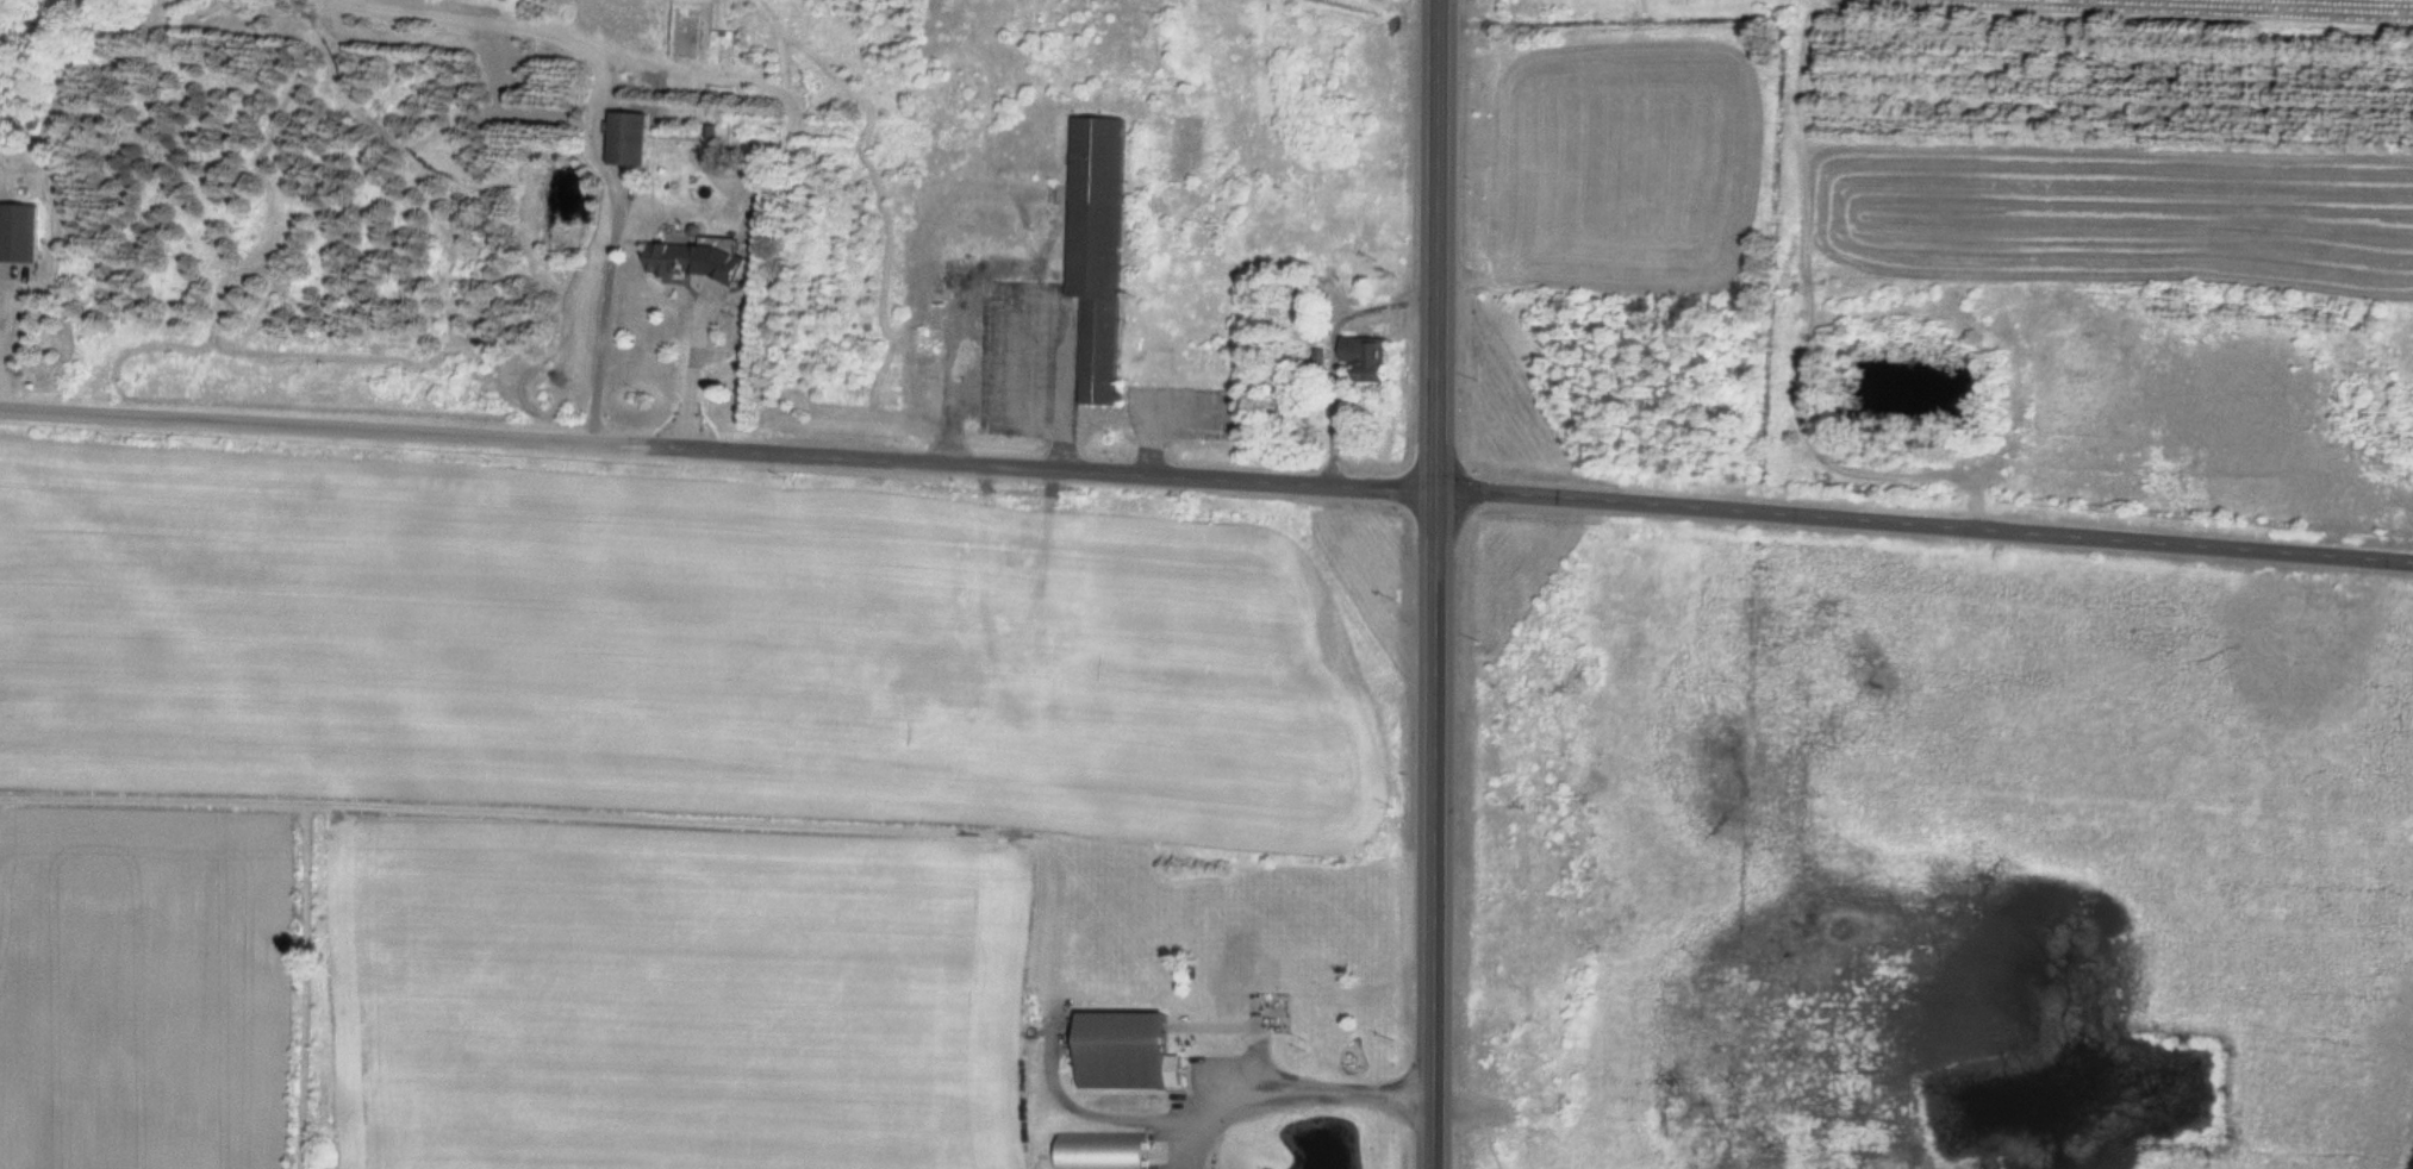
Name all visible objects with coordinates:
building: (626, 138)
building: (1095, 231)
building: (19, 233)
building: (678, 260)
building: (1292, 295)
building: (1364, 360)
road: (314, 423)
road: (1033, 467)
road: (1925, 519)
road: (1436, 584)
building: (1122, 1051)
building: (1098, 1150)

